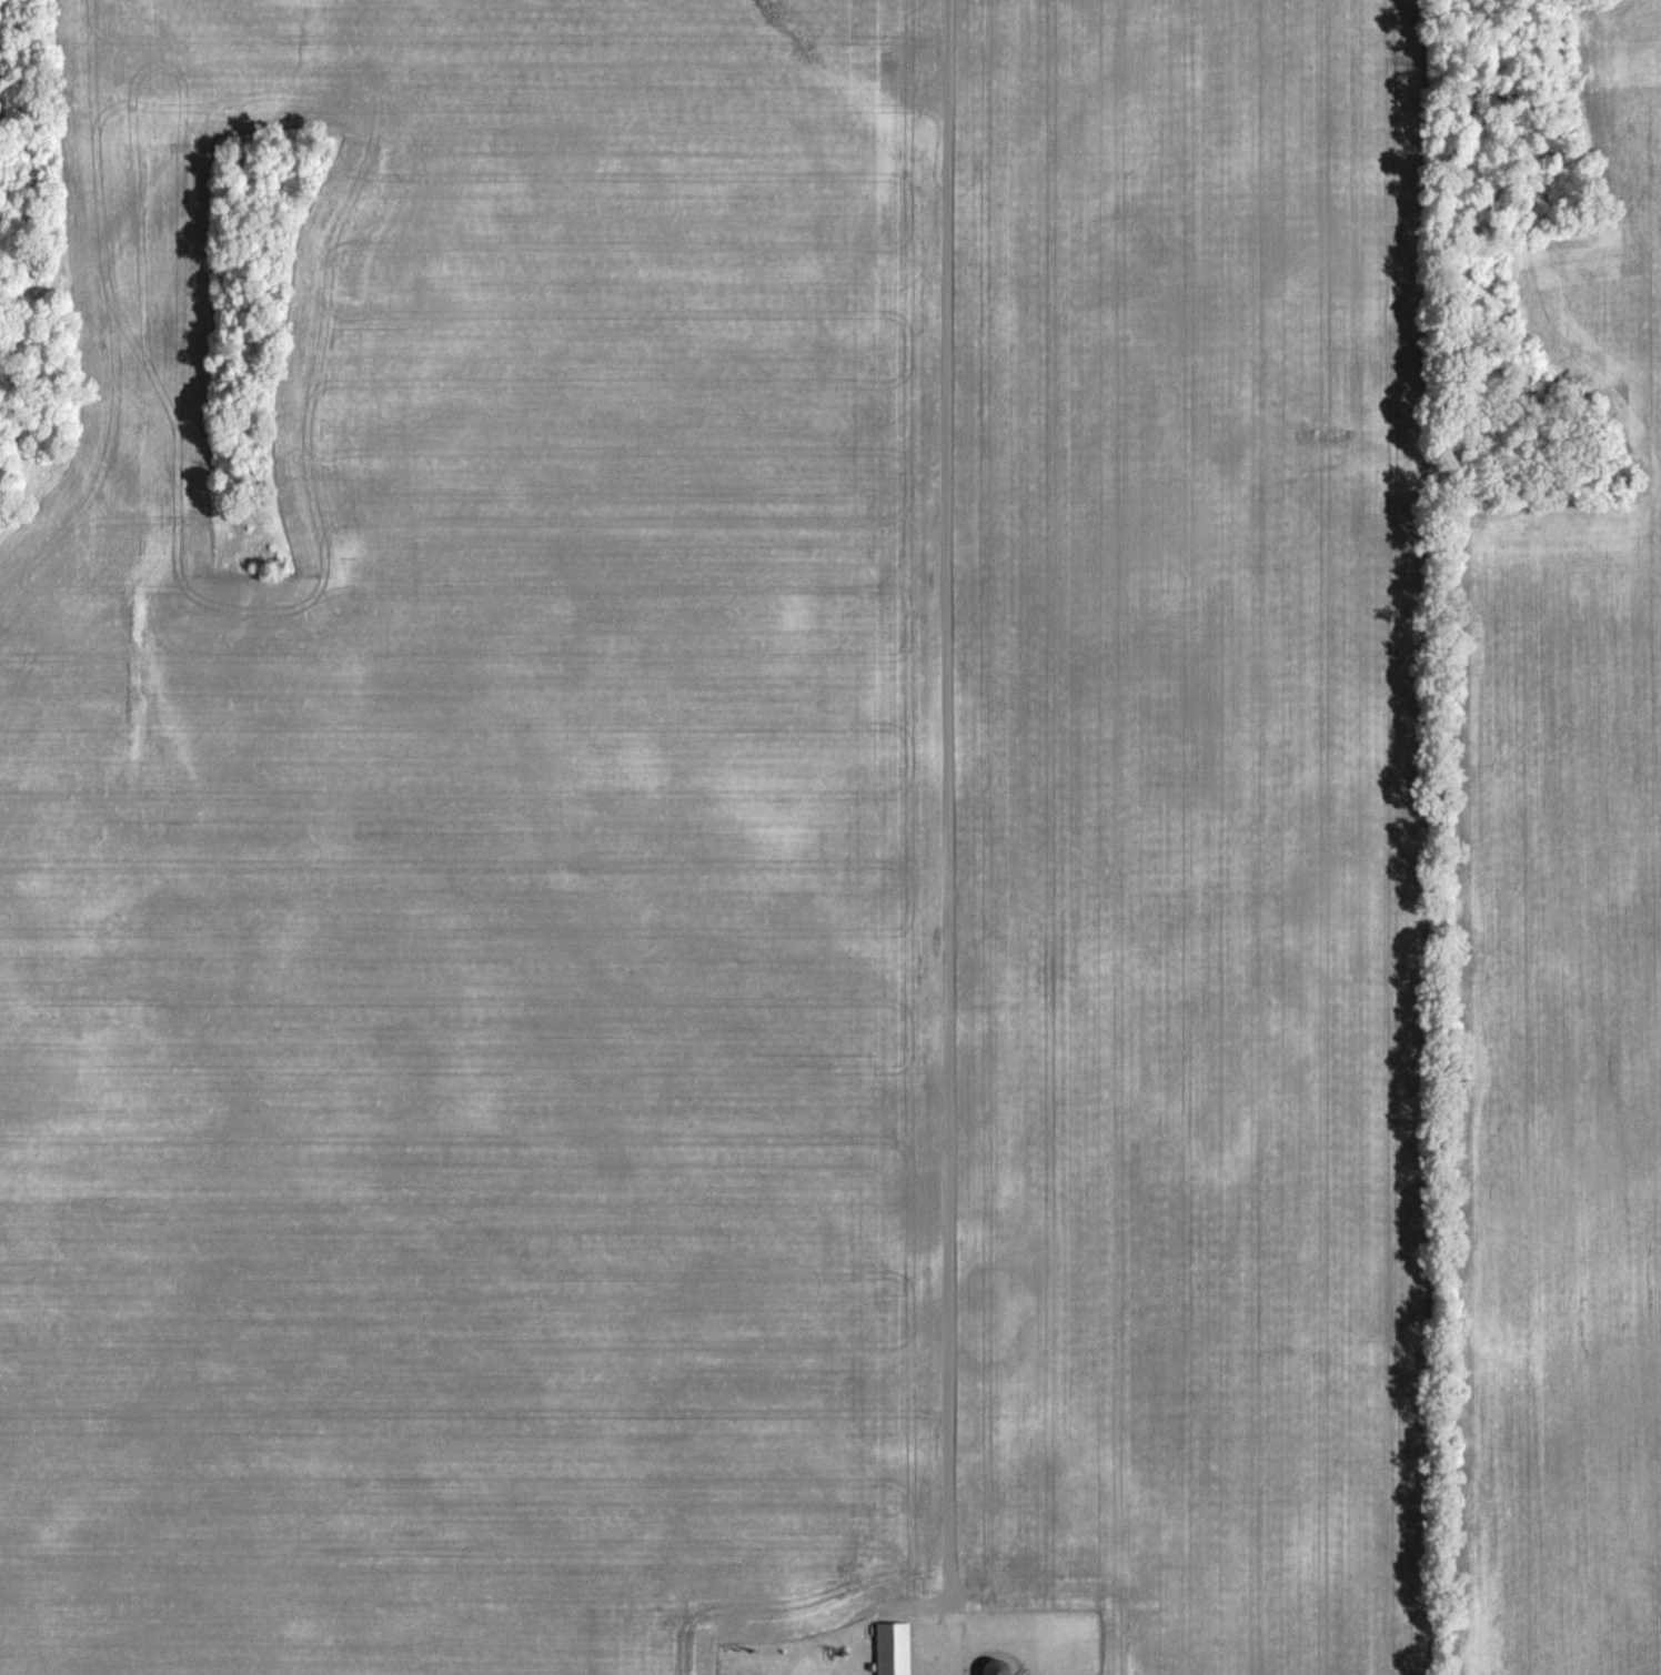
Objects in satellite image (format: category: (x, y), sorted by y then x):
building: (890, 1648)
building: (993, 1666)

